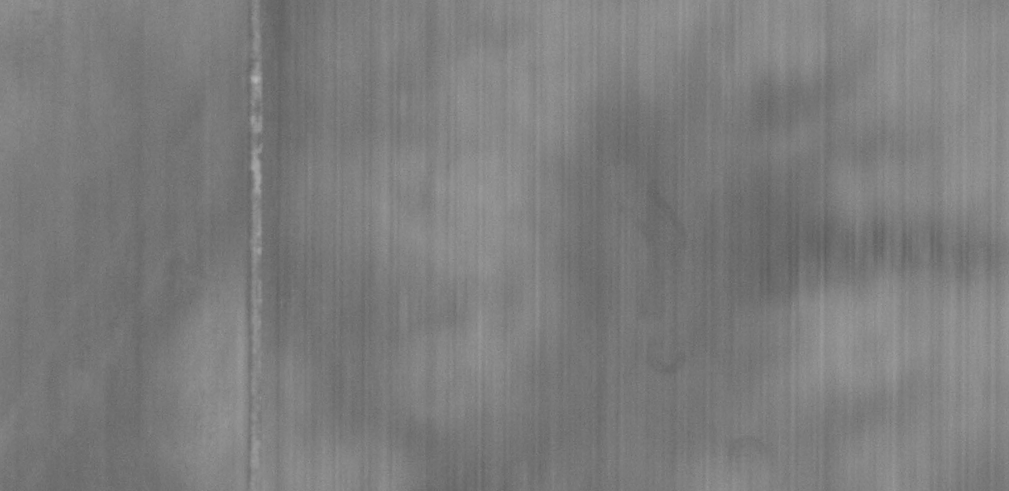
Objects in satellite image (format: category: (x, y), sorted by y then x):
road: (246, 245)

